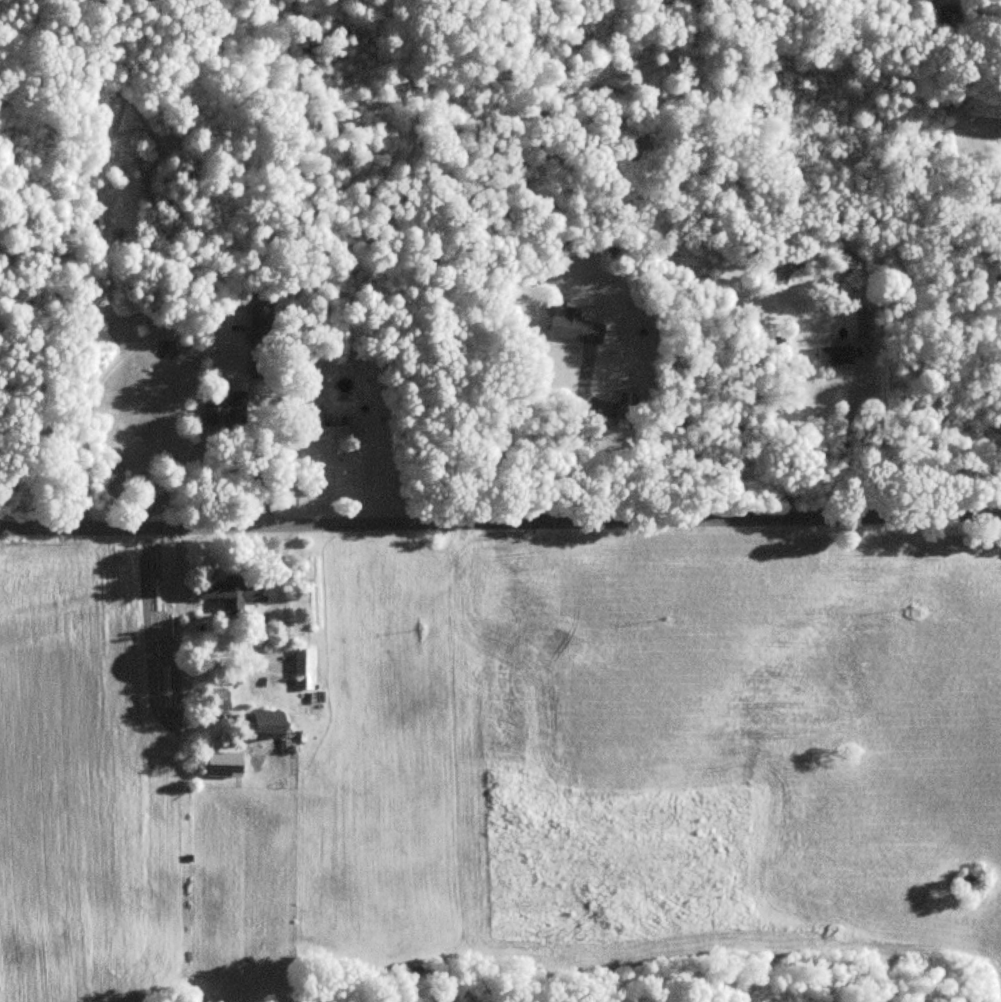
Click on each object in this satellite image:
building: (861, 325)
building: (570, 328)
building: (256, 351)
building: (831, 356)
road: (92, 385)
building: (623, 410)
building: (222, 412)
building: (317, 428)
road: (571, 442)
road: (845, 443)
road: (263, 461)
road: (500, 523)
building: (230, 594)
road: (283, 637)
building: (301, 667)
building: (216, 702)
building: (260, 725)
building: (219, 765)

